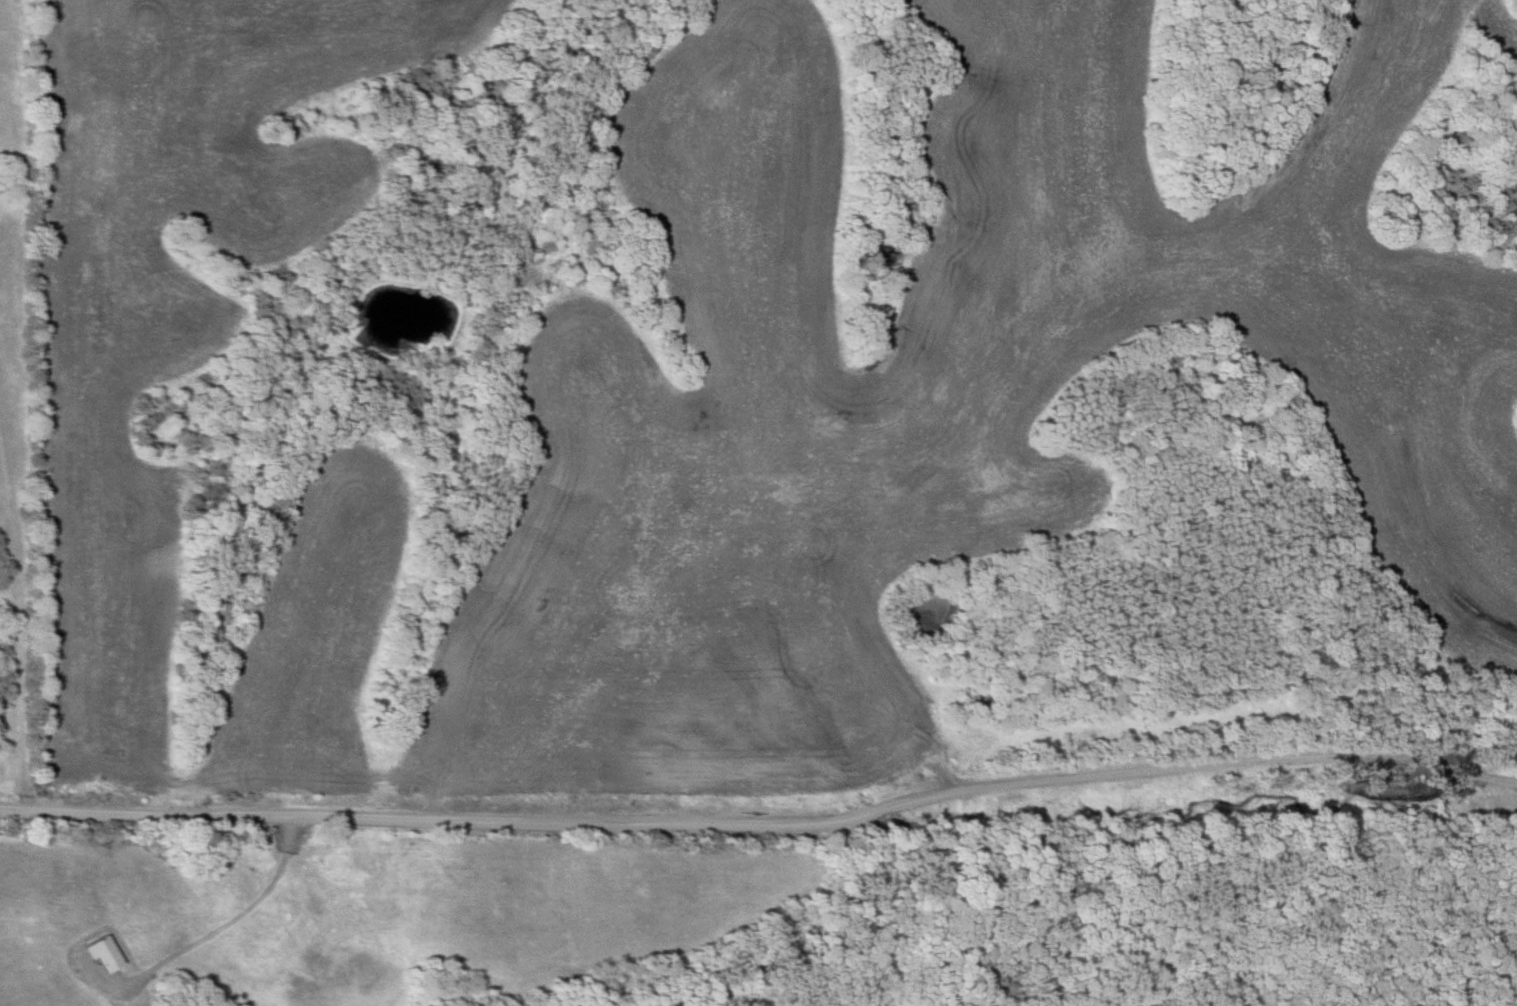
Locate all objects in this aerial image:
road: (1200, 764)
road: (442, 817)
building: (101, 954)

